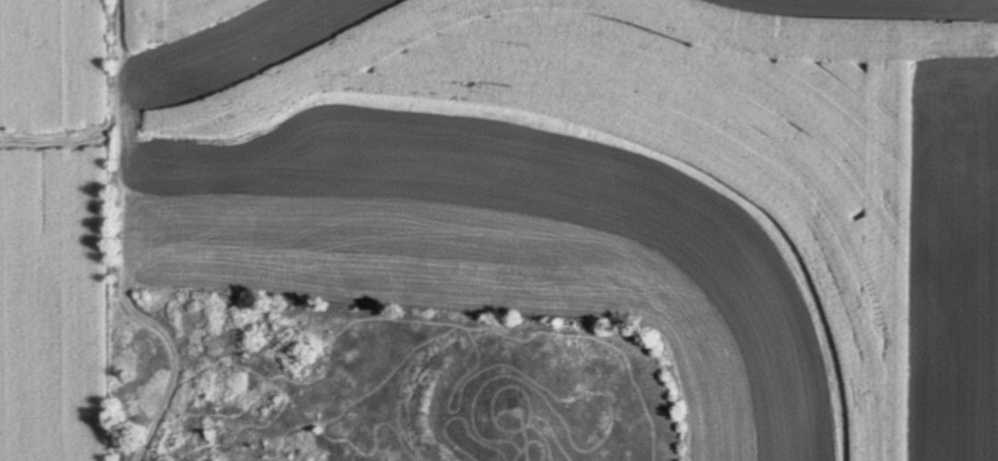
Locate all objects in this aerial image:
crop: (525, 195)

